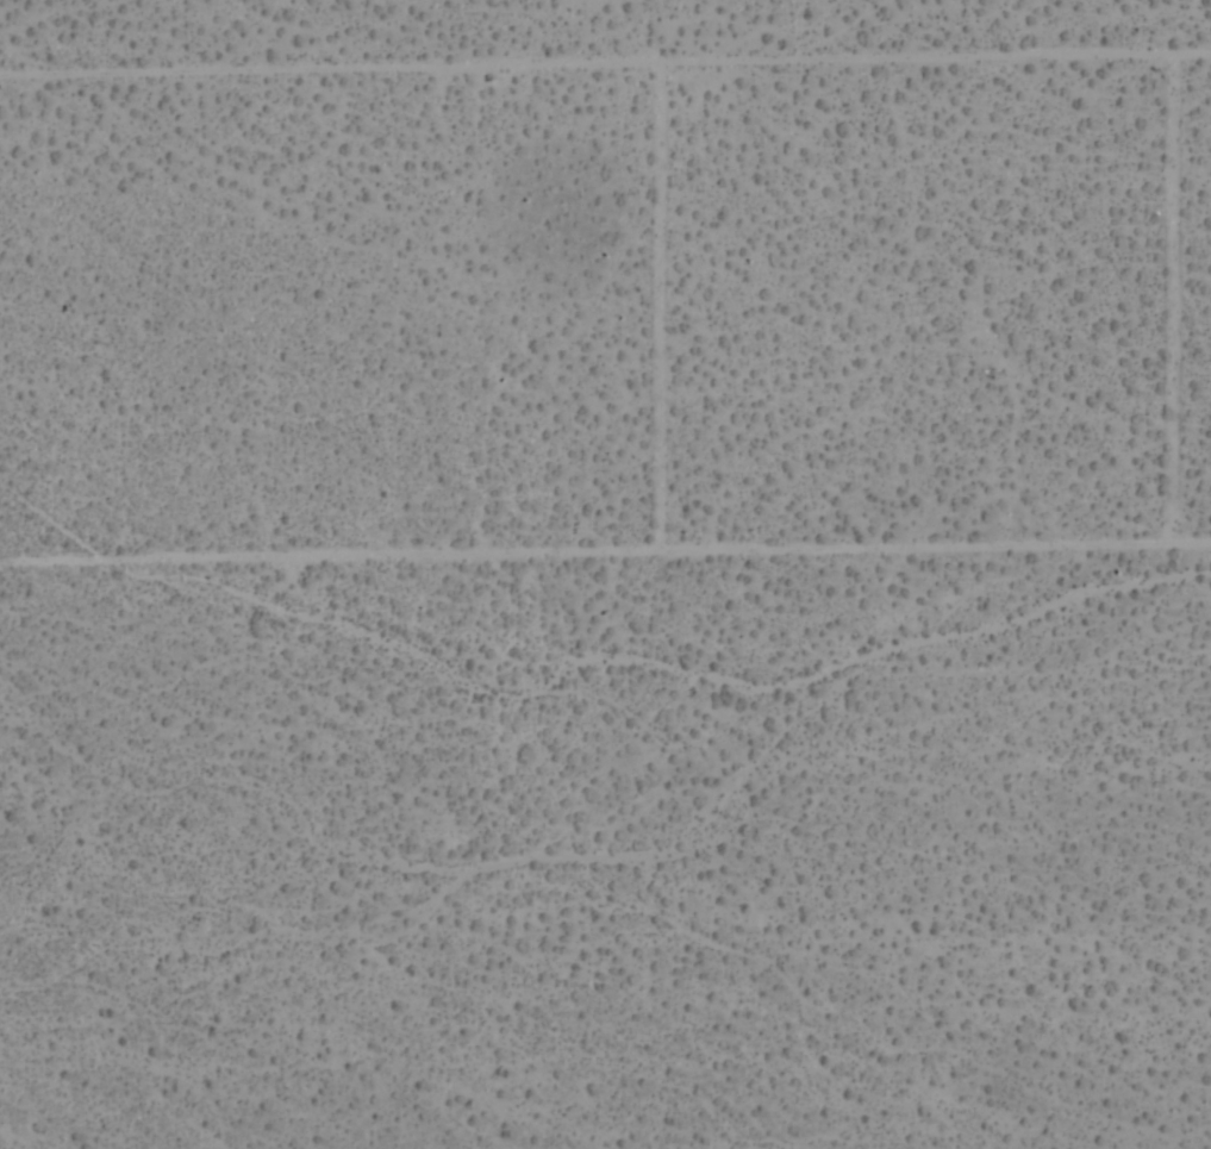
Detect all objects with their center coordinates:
crop: (605, 574)

